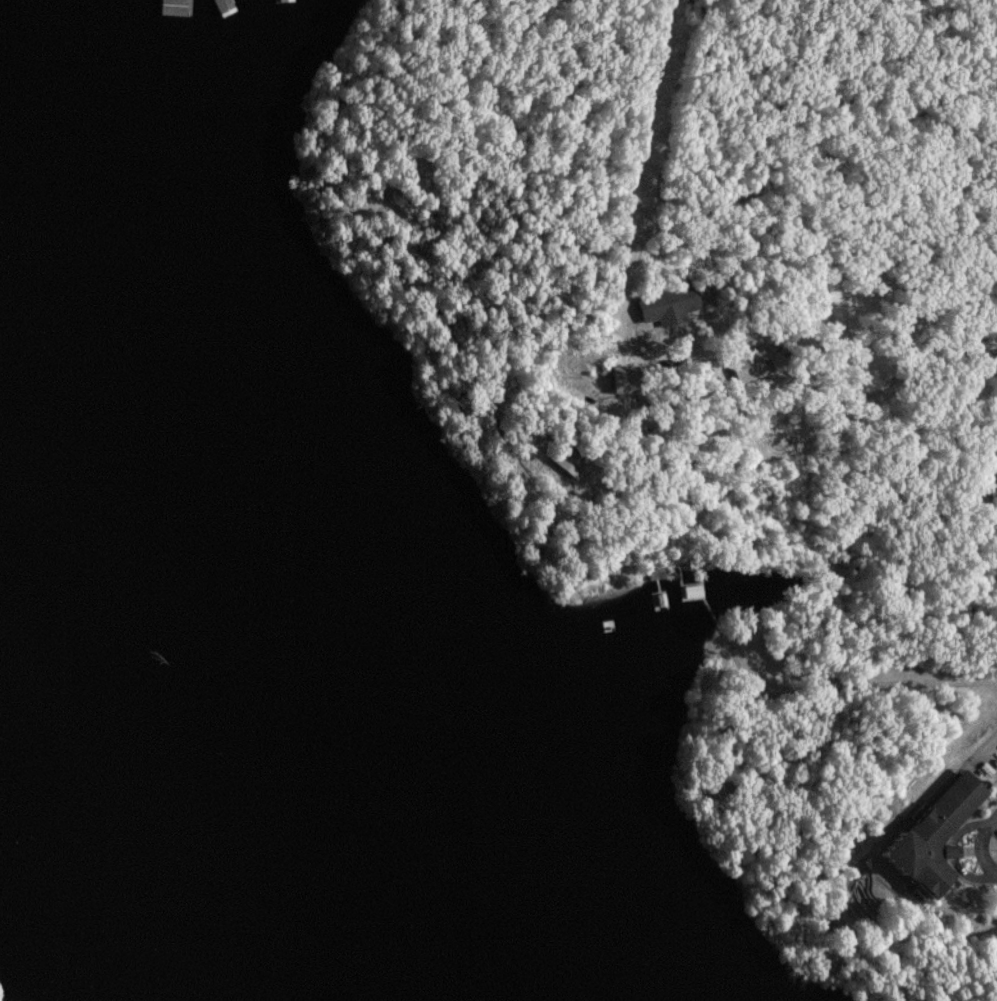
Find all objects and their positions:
building: (674, 307)
building: (755, 362)
building: (471, 407)
building: (650, 422)
road: (800, 455)
building: (575, 465)
road: (645, 494)
building: (995, 498)
road: (683, 531)
building: (544, 541)
building: (659, 575)
river: (179, 585)
building: (695, 593)
road: (889, 681)
building: (941, 835)
road: (980, 848)

